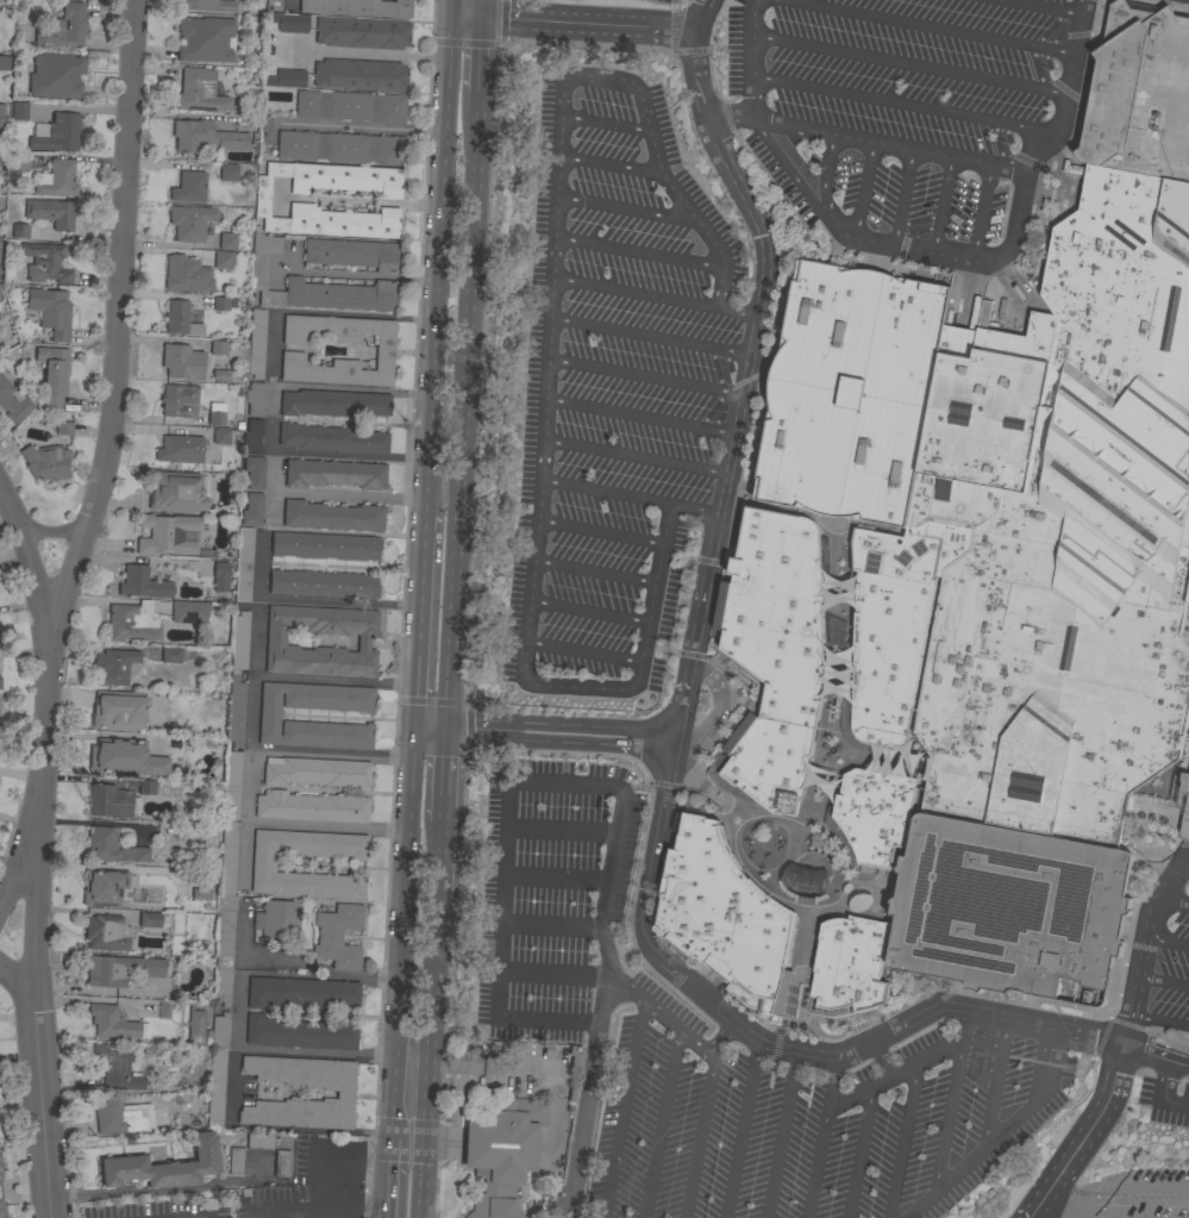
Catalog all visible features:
parking lot: (675, 0)
road: (289, 1)
building: (208, 5)
building: (274, 5)
building: (357, 7)
road: (1041, 7)
road: (449, 8)
road: (476, 10)
building: (289, 21)
road: (572, 24)
road: (933, 26)
building: (63, 29)
road: (672, 31)
building: (361, 32)
building: (206, 39)
road: (488, 45)
road: (687, 51)
road: (365, 54)
road: (474, 54)
road: (758, 58)
building: (4, 63)
road: (915, 65)
building: (359, 74)
building: (55, 76)
road: (708, 76)
building: (286, 77)
road: (605, 79)
building: (198, 90)
building: (349, 106)
road: (910, 106)
parking lot: (906, 110)
building: (19, 111)
building: (1, 114)
road: (726, 117)
road: (605, 124)
road: (359, 129)
building: (58, 133)
building: (206, 137)
road: (739, 142)
road: (896, 145)
building: (339, 148)
building: (21, 161)
road: (608, 165)
road: (827, 165)
building: (227, 173)
building: (56, 179)
building: (188, 187)
road: (863, 189)
road: (901, 198)
building: (262, 200)
road: (356, 200)
road: (940, 206)
road: (626, 210)
building: (51, 212)
road: (978, 213)
building: (189, 221)
building: (19, 231)
road: (706, 235)
building: (227, 242)
building: (351, 254)
road: (637, 254)
building: (223, 260)
road: (966, 261)
building: (45, 263)
road: (437, 266)
building: (186, 274)
road: (352, 274)
building: (314, 286)
road: (481, 294)
road: (634, 294)
road: (550, 299)
building: (220, 304)
building: (51, 311)
road: (739, 313)
road: (327, 314)
building: (180, 319)
road: (652, 337)
building: (256, 343)
building: (218, 348)
building: (383, 348)
building: (182, 361)
building: (52, 375)
building: (220, 375)
road: (647, 379)
building: (255, 398)
parking lot: (619, 399)
building: (179, 400)
building: (13, 401)
building: (333, 402)
road: (458, 408)
building: (215, 413)
road: (271, 418)
road: (643, 418)
building: (63, 427)
building: (220, 436)
building: (252, 436)
building: (331, 438)
building: (180, 449)
road: (638, 455)
building: (46, 461)
building: (254, 471)
building: (333, 474)
building: (177, 492)
road: (603, 492)
road: (349, 493)
road: (694, 507)
building: (251, 510)
building: (331, 516)
road: (730, 526)
road: (56, 532)
road: (599, 532)
building: (165, 533)
building: (324, 545)
road: (29, 554)
building: (243, 564)
road: (593, 573)
building: (220, 576)
building: (142, 583)
building: (323, 583)
road: (313, 599)
building: (962, 602)
road: (56, 605)
building: (188, 612)
road: (588, 612)
road: (420, 620)
building: (132, 622)
building: (239, 641)
building: (275, 642)
road: (657, 649)
road: (583, 654)
building: (173, 655)
road: (689, 655)
building: (113, 666)
road: (334, 679)
road: (552, 686)
road: (732, 704)
building: (118, 710)
building: (236, 711)
building: (269, 716)
road: (712, 719)
road: (672, 727)
road: (543, 732)
road: (249, 742)
road: (331, 752)
building: (125, 757)
parking lot: (825, 757)
road: (439, 761)
building: (315, 772)
road: (508, 782)
road: (664, 785)
building: (146, 787)
road: (637, 788)
building: (108, 801)
building: (311, 806)
building: (1184, 806)
parking garage: (1184, 806)
road: (436, 808)
road: (326, 824)
road: (557, 832)
building: (101, 844)
building: (142, 855)
road: (433, 856)
road: (80, 867)
building: (263, 867)
road: (1183, 874)
road: (551, 877)
road: (14, 882)
building: (226, 882)
building: (201, 886)
building: (104, 887)
road: (458, 891)
parking lot: (556, 892)
road: (1175, 902)
building: (277, 918)
building: (149, 919)
road: (547, 924)
building: (106, 932)
road: (401, 932)
building: (338, 936)
road: (1146, 945)
road: (1168, 947)
building: (119, 970)
road: (547, 972)
parking lot: (1171, 977)
road: (19, 980)
road: (700, 980)
road: (1164, 986)
building: (300, 992)
building: (163, 1010)
road: (237, 1010)
road: (657, 1017)
road: (1160, 1018)
building: (111, 1022)
building: (194, 1022)
building: (299, 1033)
road: (720, 1041)
road: (423, 1053)
road: (1153, 1055)
building: (574, 1057)
road: (880, 1057)
building: (117, 1069)
building: (217, 1069)
road: (891, 1075)
road: (994, 1081)
road: (230, 1088)
building: (344, 1094)
road: (1159, 1097)
road: (950, 1099)
parking lot: (1165, 1103)
road: (620, 1111)
building: (118, 1117)
parking lot: (802, 1117)
road: (580, 1123)
road: (659, 1125)
road: (738, 1130)
road: (997, 1132)
road: (778, 1135)
road: (1083, 1135)
road: (816, 1137)
road: (699, 1138)
road: (901, 1141)
building: (261, 1142)
road: (440, 1144)
road: (858, 1151)
building: (502, 1154)
building: (236, 1161)
road: (338, 1161)
building: (281, 1163)
building: (163, 1167)
road: (387, 1174)
road: (25, 1188)
road: (165, 1189)
road: (1118, 1189)
road: (1063, 1201)
road: (318, 1208)
building: (1, 1211)
road: (1129, 1211)
road: (384, 1213)

